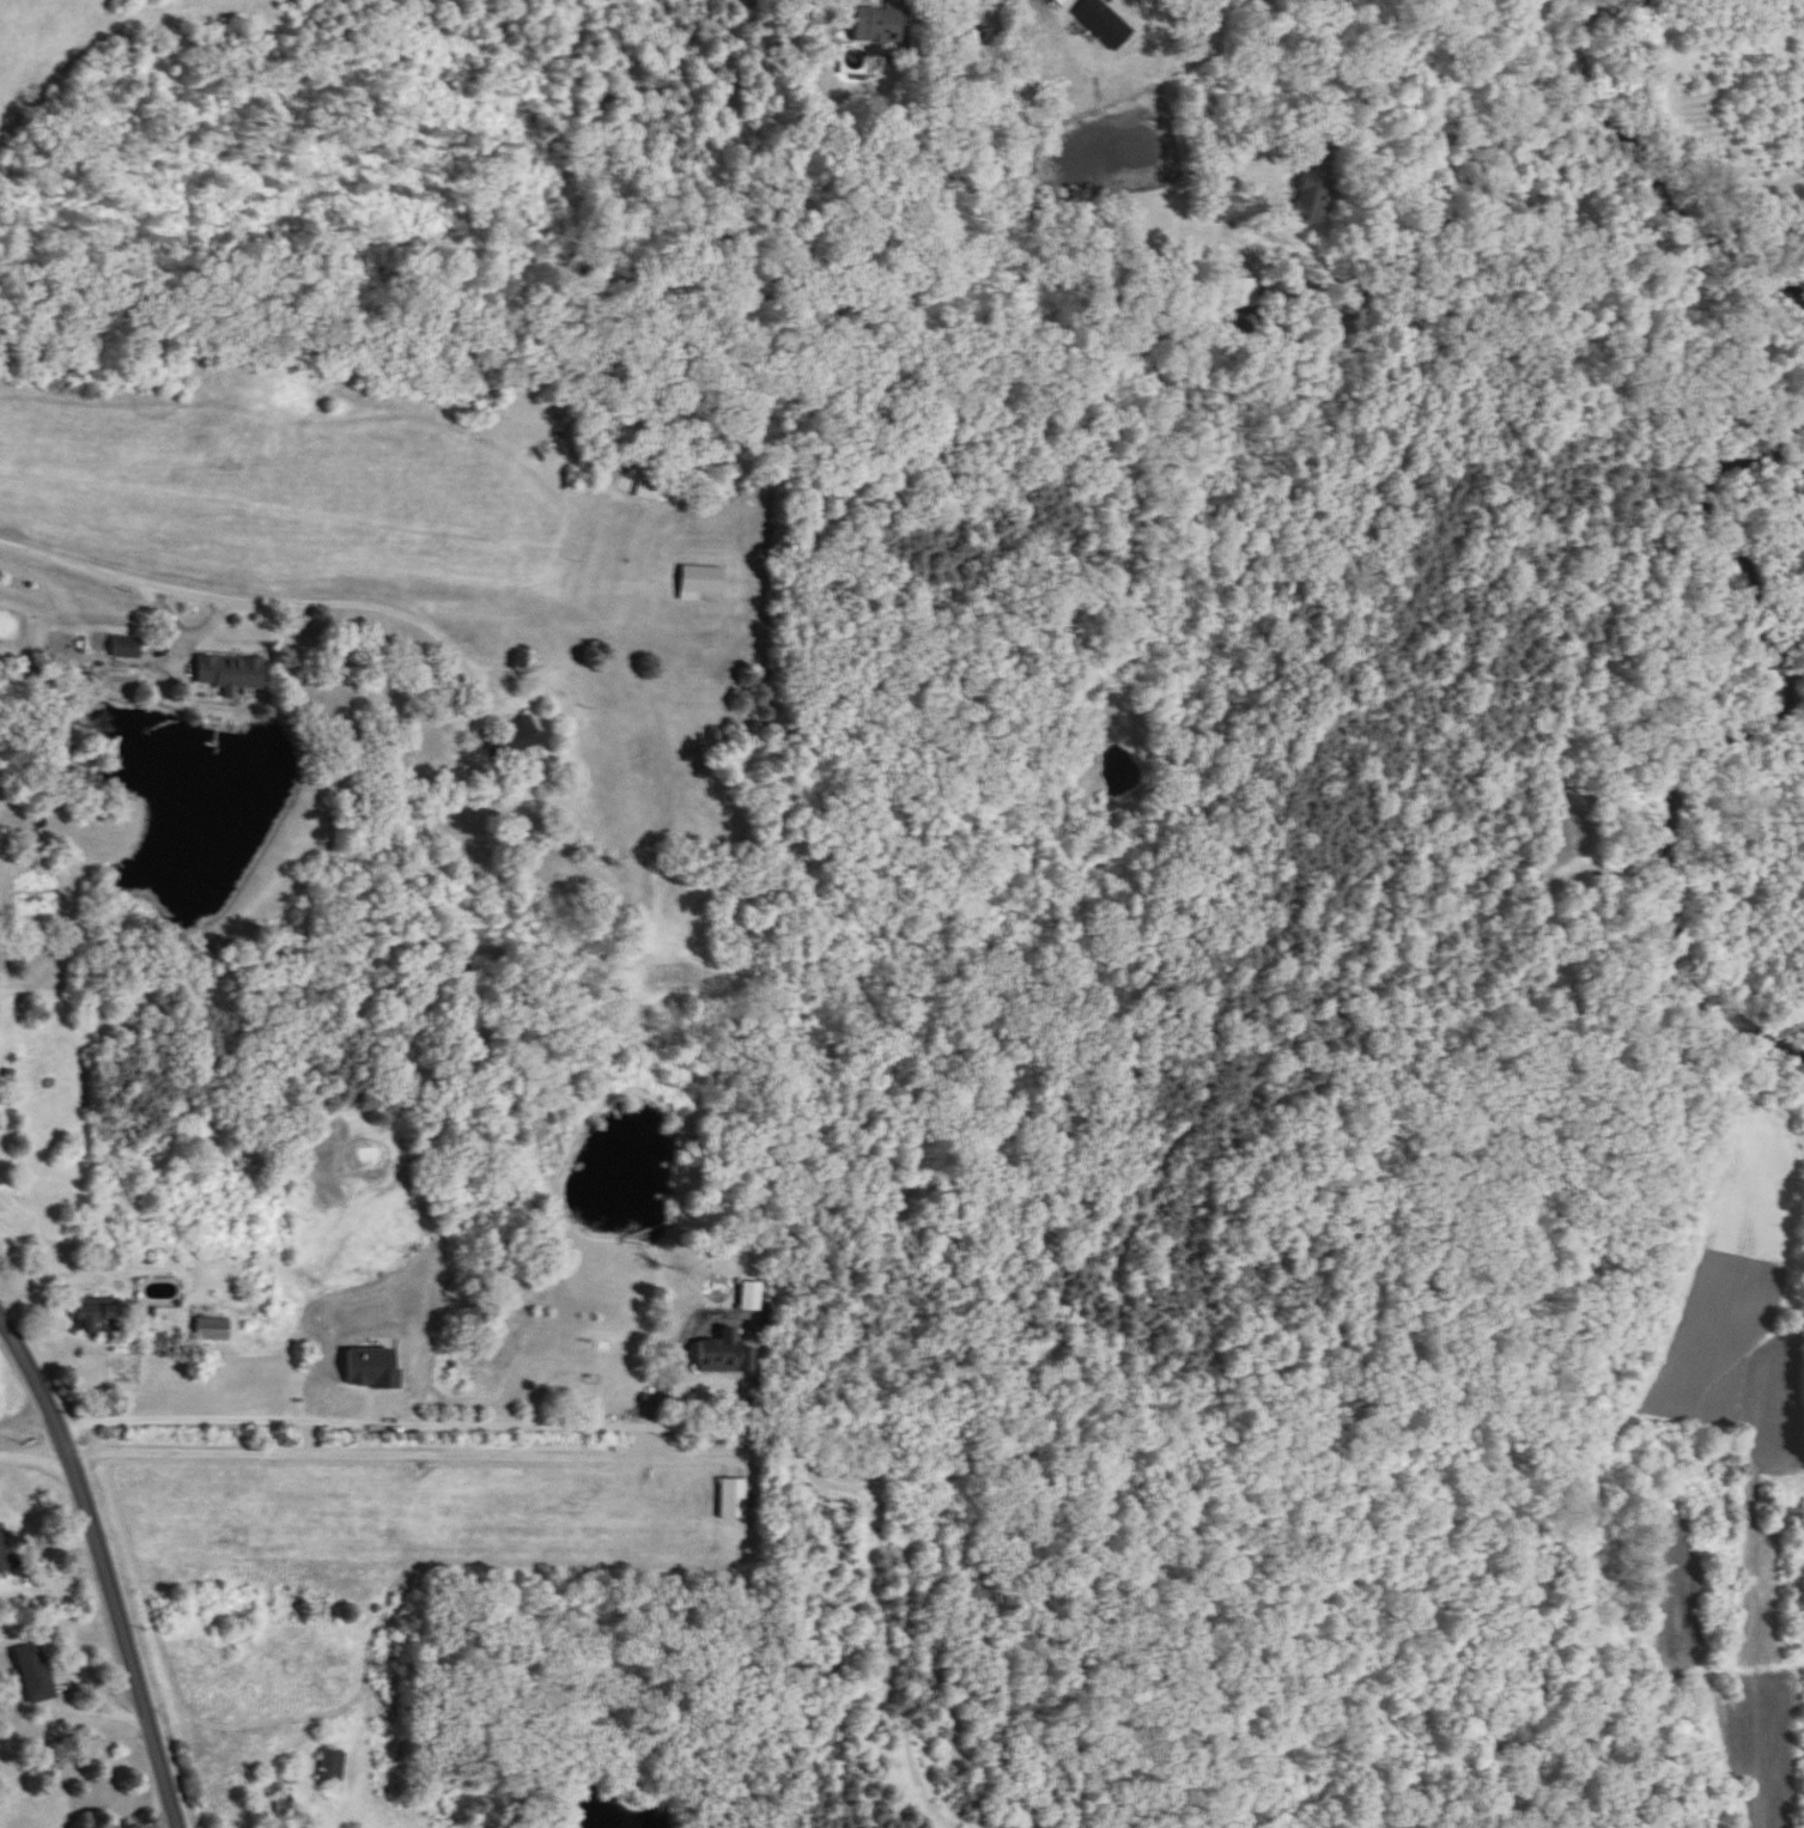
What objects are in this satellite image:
building: (887, 24)
road: (1216, 69)
river: (1706, 188)
building: (1317, 189)
building: (1240, 292)
building: (652, 492)
road: (375, 608)
building: (127, 648)
building: (232, 675)
building: (516, 740)
road: (44, 831)
river: (1621, 946)
road: (85, 1244)
building: (751, 1298)
building: (97, 1320)
building: (212, 1331)
building: (725, 1358)
road: (497, 1427)
road: (678, 1432)
road: (32, 1458)
road: (396, 1458)
building: (733, 1500)
building: (5, 1554)
road: (101, 1569)
building: (36, 1674)
road: (87, 1717)
road: (138, 1723)
building: (333, 1767)
building: (279, 1805)

